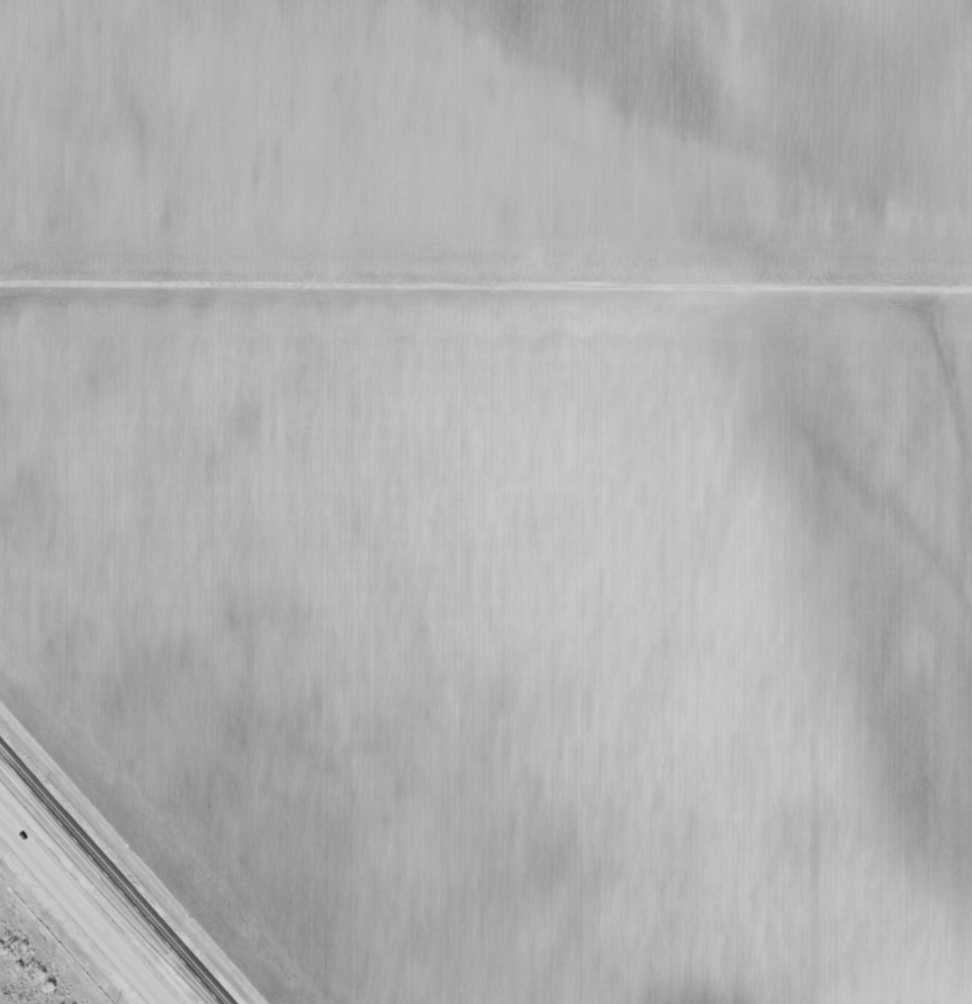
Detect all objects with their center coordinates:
road: (115, 874)
road: (82, 911)

